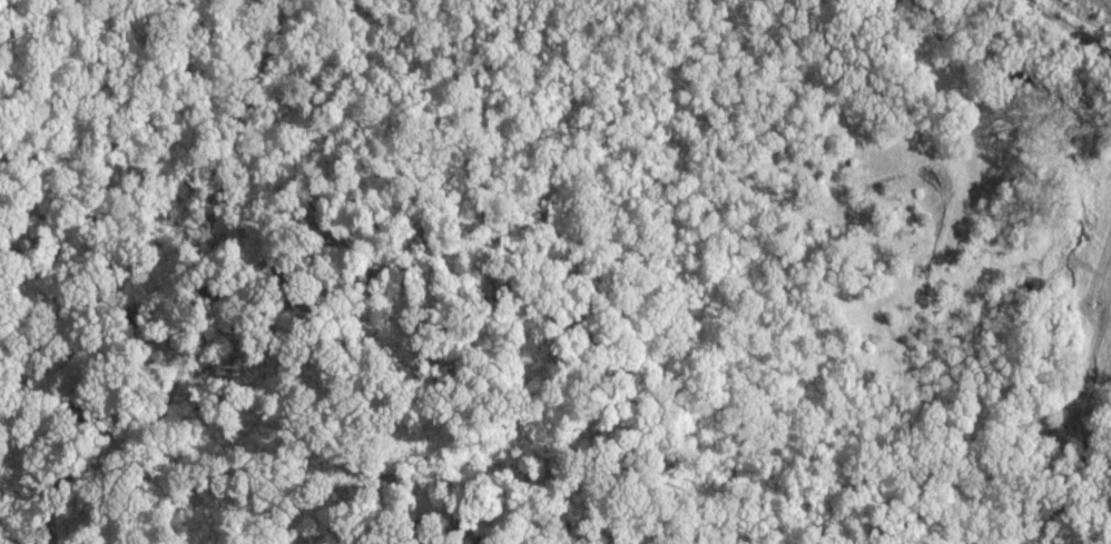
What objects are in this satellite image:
road: (1072, 23)

